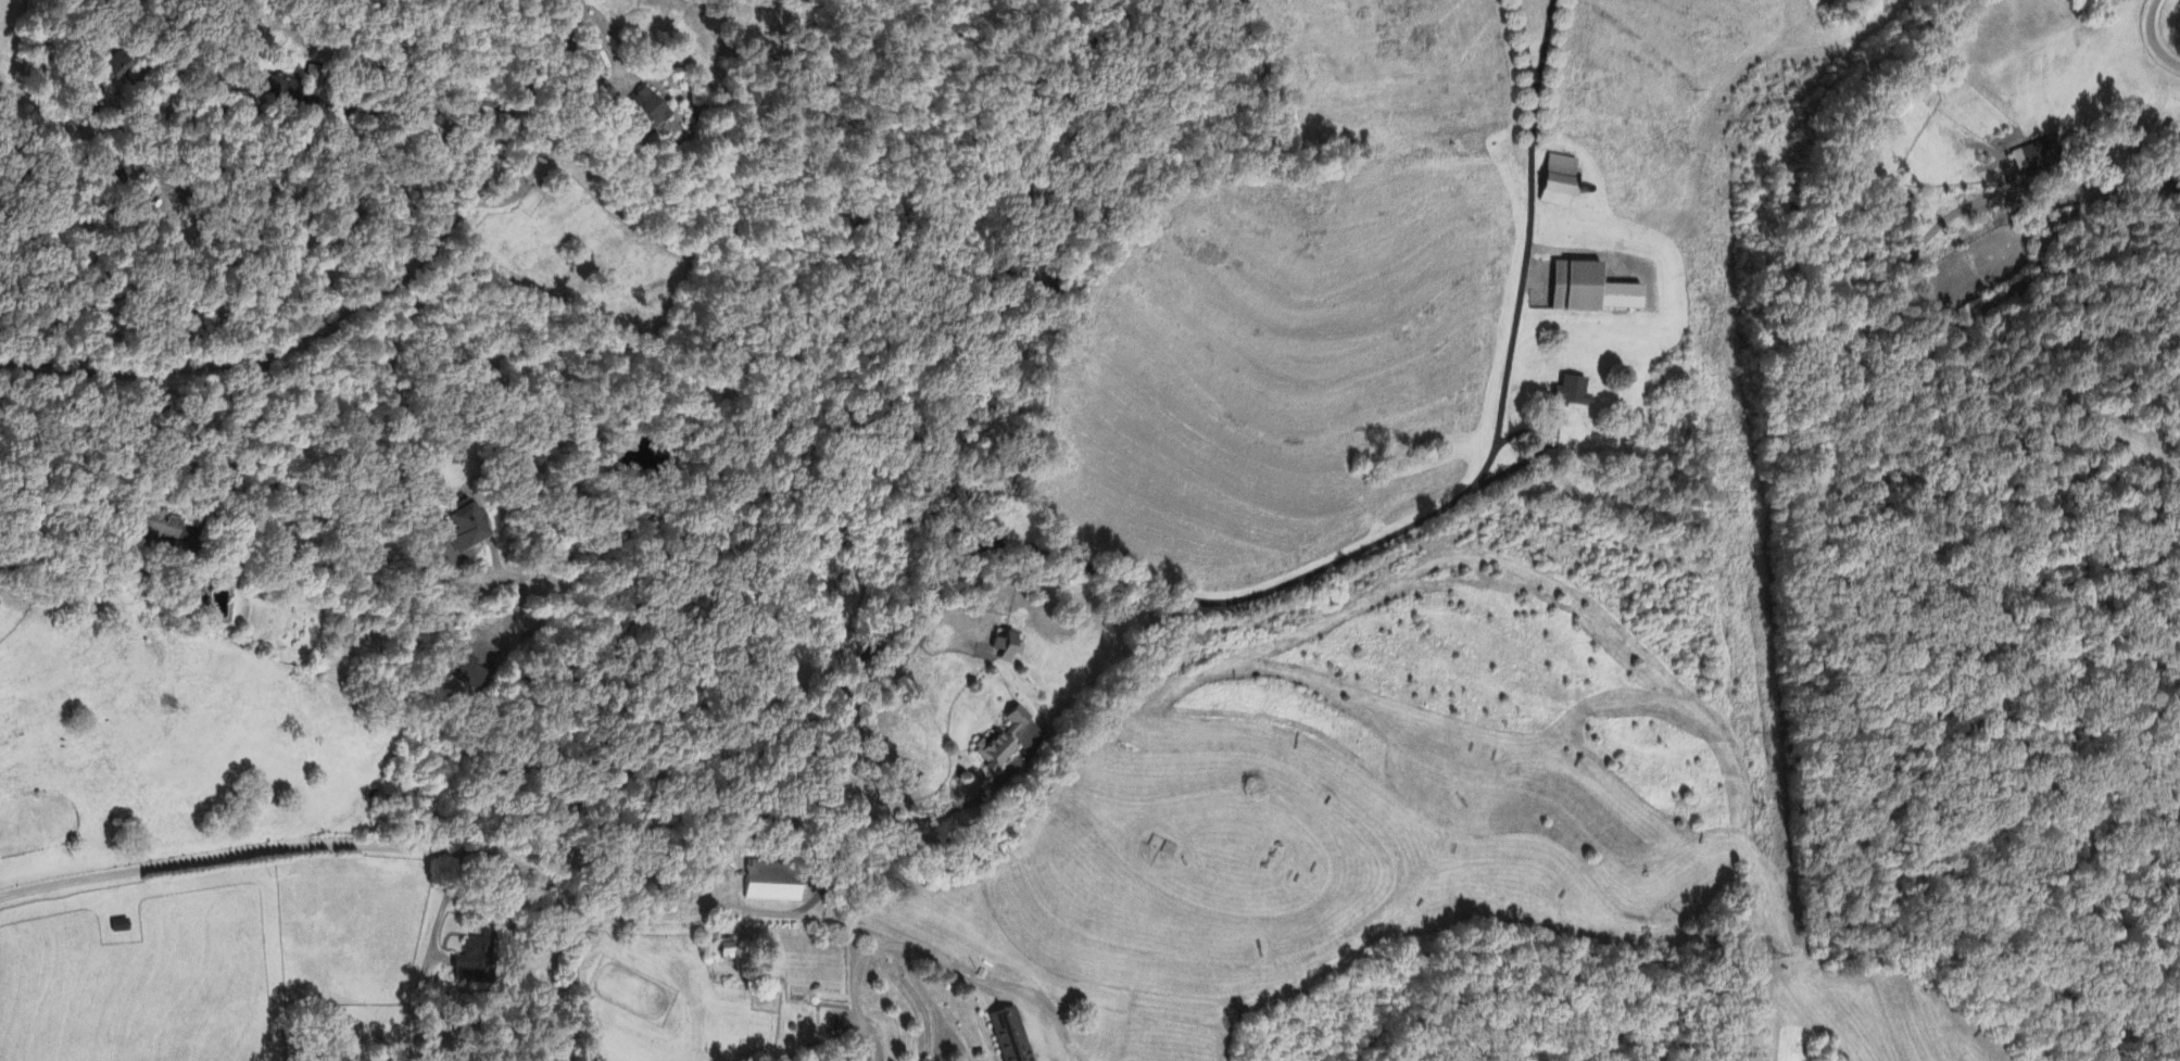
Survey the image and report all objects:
road: (2154, 37)
road: (604, 45)
road: (1528, 50)
road: (420, 109)
road: (2163, 169)
road: (228, 212)
road: (364, 305)
road: (401, 452)
road: (37, 531)
road: (890, 627)
road: (917, 822)
road: (431, 950)
road: (869, 953)
road: (854, 971)
road: (973, 978)
road: (921, 985)

